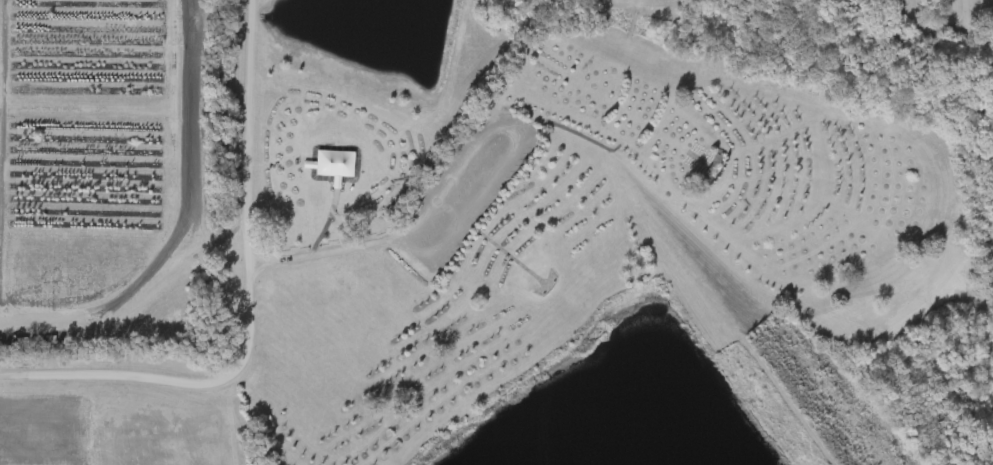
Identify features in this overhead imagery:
building: (337, 163)
road: (325, 250)
road: (250, 310)
dam: (764, 353)

